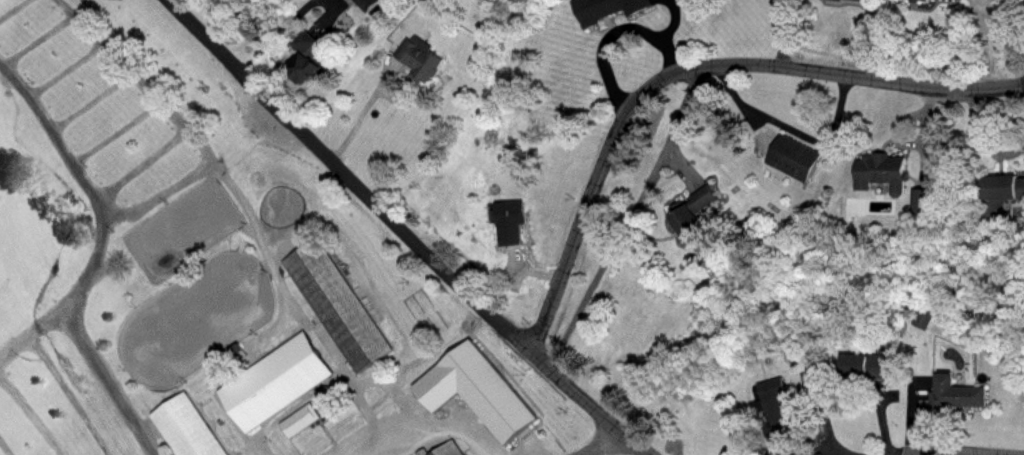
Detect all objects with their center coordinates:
building: (922, 0)
building: (945, 0)
building: (853, 1)
building: (370, 4)
building: (608, 8)
road: (13, 9)
road: (36, 38)
building: (309, 60)
building: (423, 60)
road: (689, 68)
road: (65, 69)
road: (137, 78)
road: (90, 98)
road: (359, 114)
road: (114, 128)
road: (792, 128)
road: (57, 135)
road: (1013, 150)
building: (792, 157)
road: (139, 162)
building: (880, 172)
building: (1001, 188)
road: (161, 191)
building: (698, 199)
building: (922, 204)
road: (627, 220)
building: (513, 221)
building: (684, 224)
park: (182, 226)
road: (404, 232)
road: (90, 266)
park: (244, 271)
building: (338, 302)
road: (302, 311)
park: (195, 316)
road: (86, 352)
building: (861, 367)
building: (274, 378)
building: (476, 388)
road: (69, 394)
building: (957, 395)
building: (774, 409)
road: (30, 413)
road: (827, 415)
building: (299, 416)
road: (434, 424)
building: (188, 425)
road: (599, 441)
road: (8, 442)
building: (446, 448)
road: (824, 448)
road: (953, 452)

